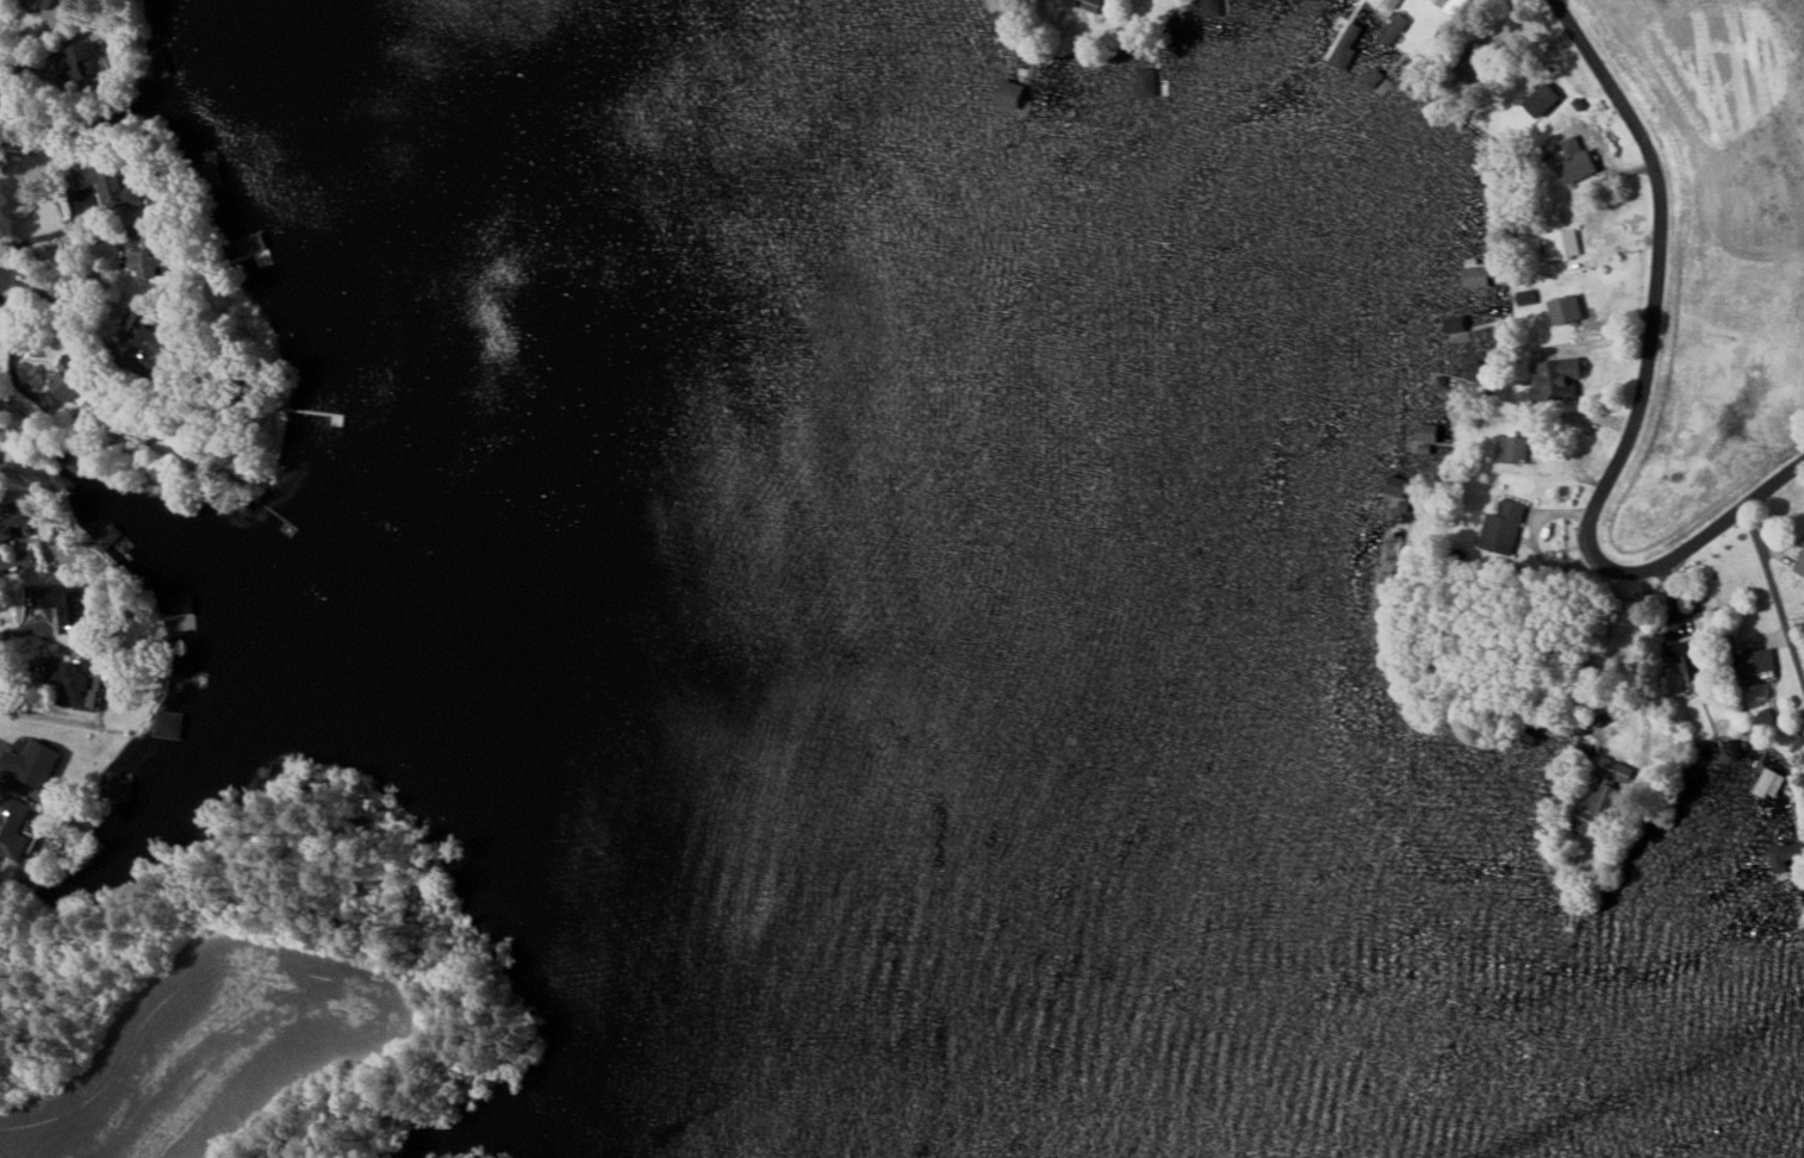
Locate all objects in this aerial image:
building: (1312, 0)
building: (67, 1)
building: (1002, 1)
building: (1444, 2)
building: (36, 4)
building: (1085, 4)
building: (1391, 4)
building: (1213, 7)
building: (1393, 29)
building: (1342, 43)
building: (85, 64)
building: (1145, 81)
building: (1009, 93)
building: (1542, 99)
building: (1478, 151)
building: (1576, 167)
building: (106, 186)
building: (1492, 195)
road: (50, 234)
building: (1561, 243)
building: (249, 244)
building: (144, 261)
building: (1475, 276)
building: (1525, 297)
building: (1566, 309)
building: (145, 349)
building: (1437, 378)
building: (1556, 378)
building: (70, 384)
road: (1640, 392)
building: (1426, 432)
building: (1510, 449)
building: (68, 472)
building: (1395, 486)
building: (11, 524)
building: (1501, 528)
building: (106, 536)
building: (1799, 564)
road: (1775, 592)
building: (64, 606)
road: (25, 629)
building: (1687, 660)
building: (1756, 664)
building: (74, 683)
road: (20, 687)
building: (168, 724)
building: (1798, 745)
building: (1733, 749)
building: (37, 765)
road: (8, 780)
building: (1768, 783)
building: (118, 786)
building: (1603, 798)
building: (13, 824)
building: (1784, 855)

